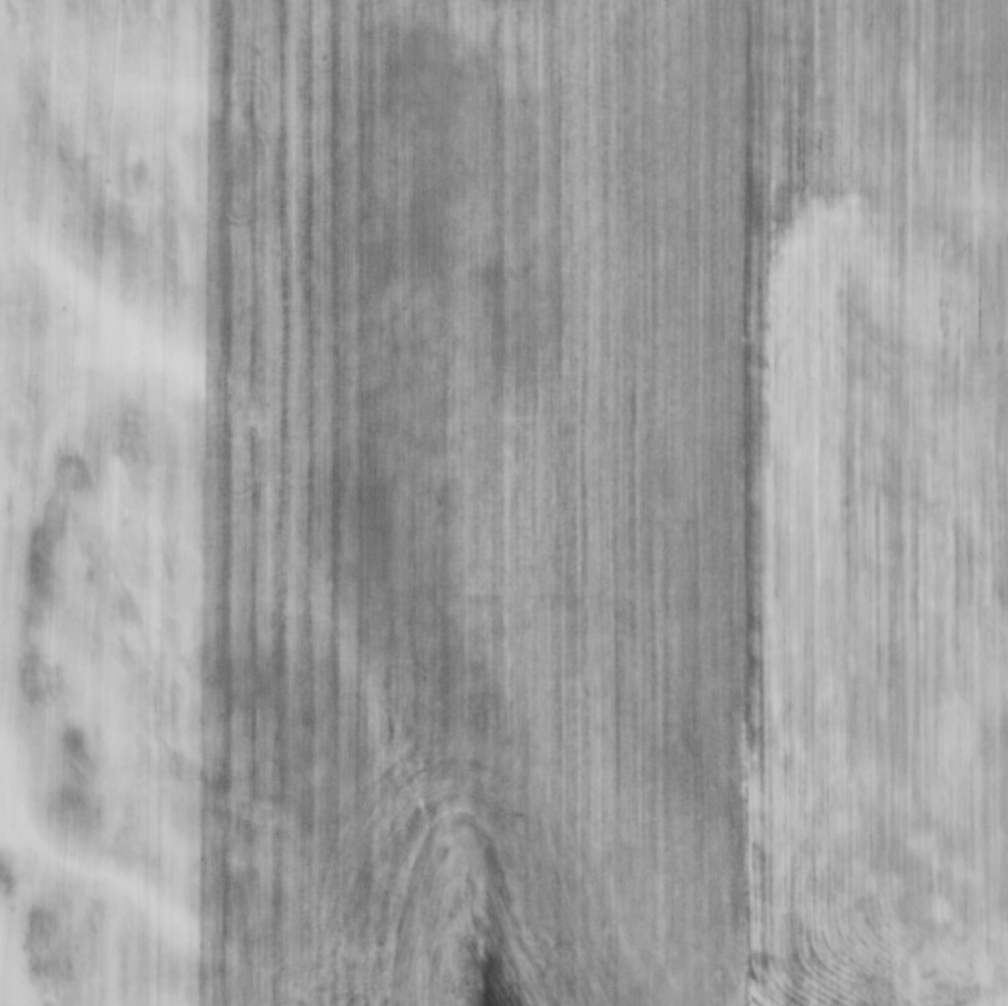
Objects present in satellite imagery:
road: (763, 502)

